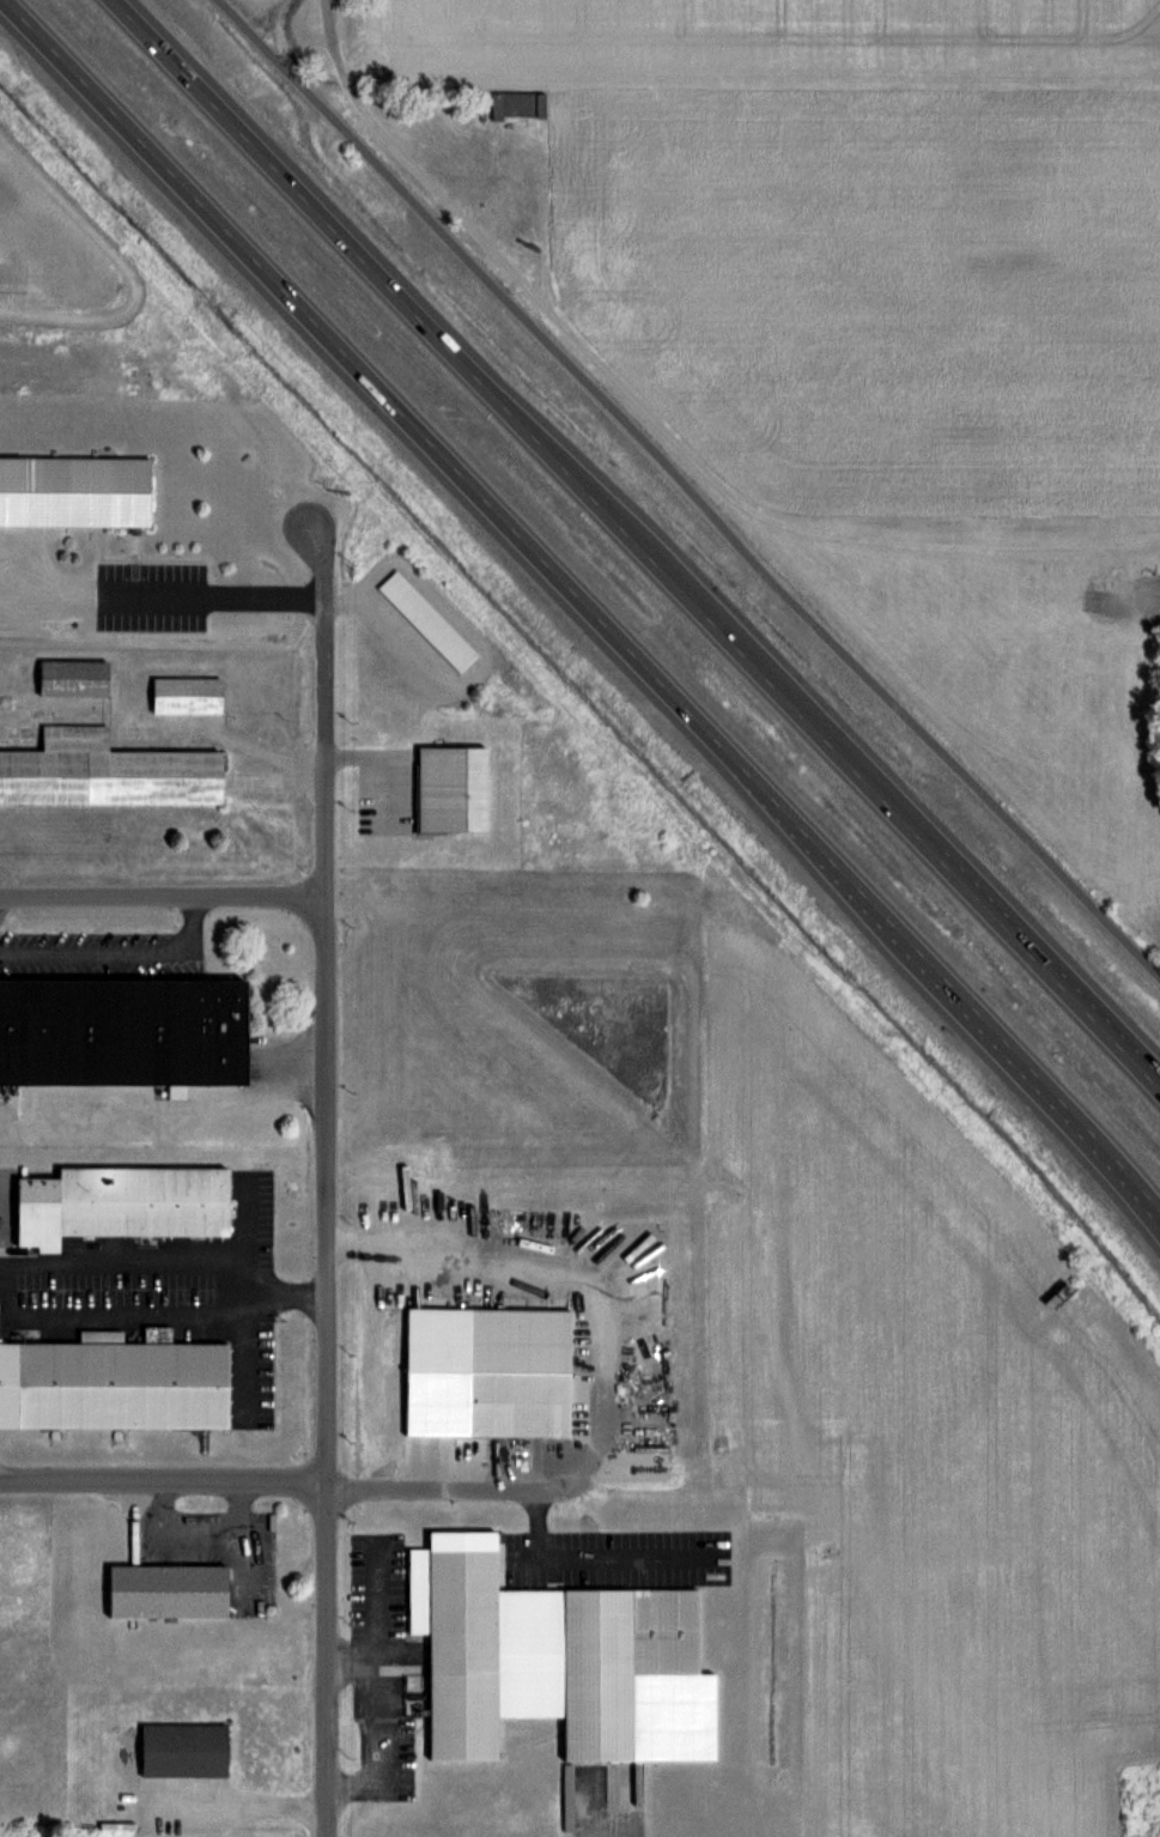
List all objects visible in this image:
building: (517, 103)
road: (651, 416)
road: (687, 487)
building: (74, 491)
road: (639, 544)
road: (163, 595)
road: (584, 602)
building: (427, 619)
road: (670, 633)
building: (72, 678)
building: (186, 695)
building: (104, 771)
building: (451, 788)
road: (162, 898)
road: (109, 950)
road: (329, 1176)
building: (120, 1204)
road: (7, 1260)
road: (2, 1279)
building: (114, 1383)
building: (517, 1403)
road: (164, 1484)
road: (472, 1486)
road: (587, 1557)
building: (165, 1592)
building: (536, 1650)
road: (348, 1656)
road: (370, 1679)
building: (182, 1750)
road: (235, 1802)

